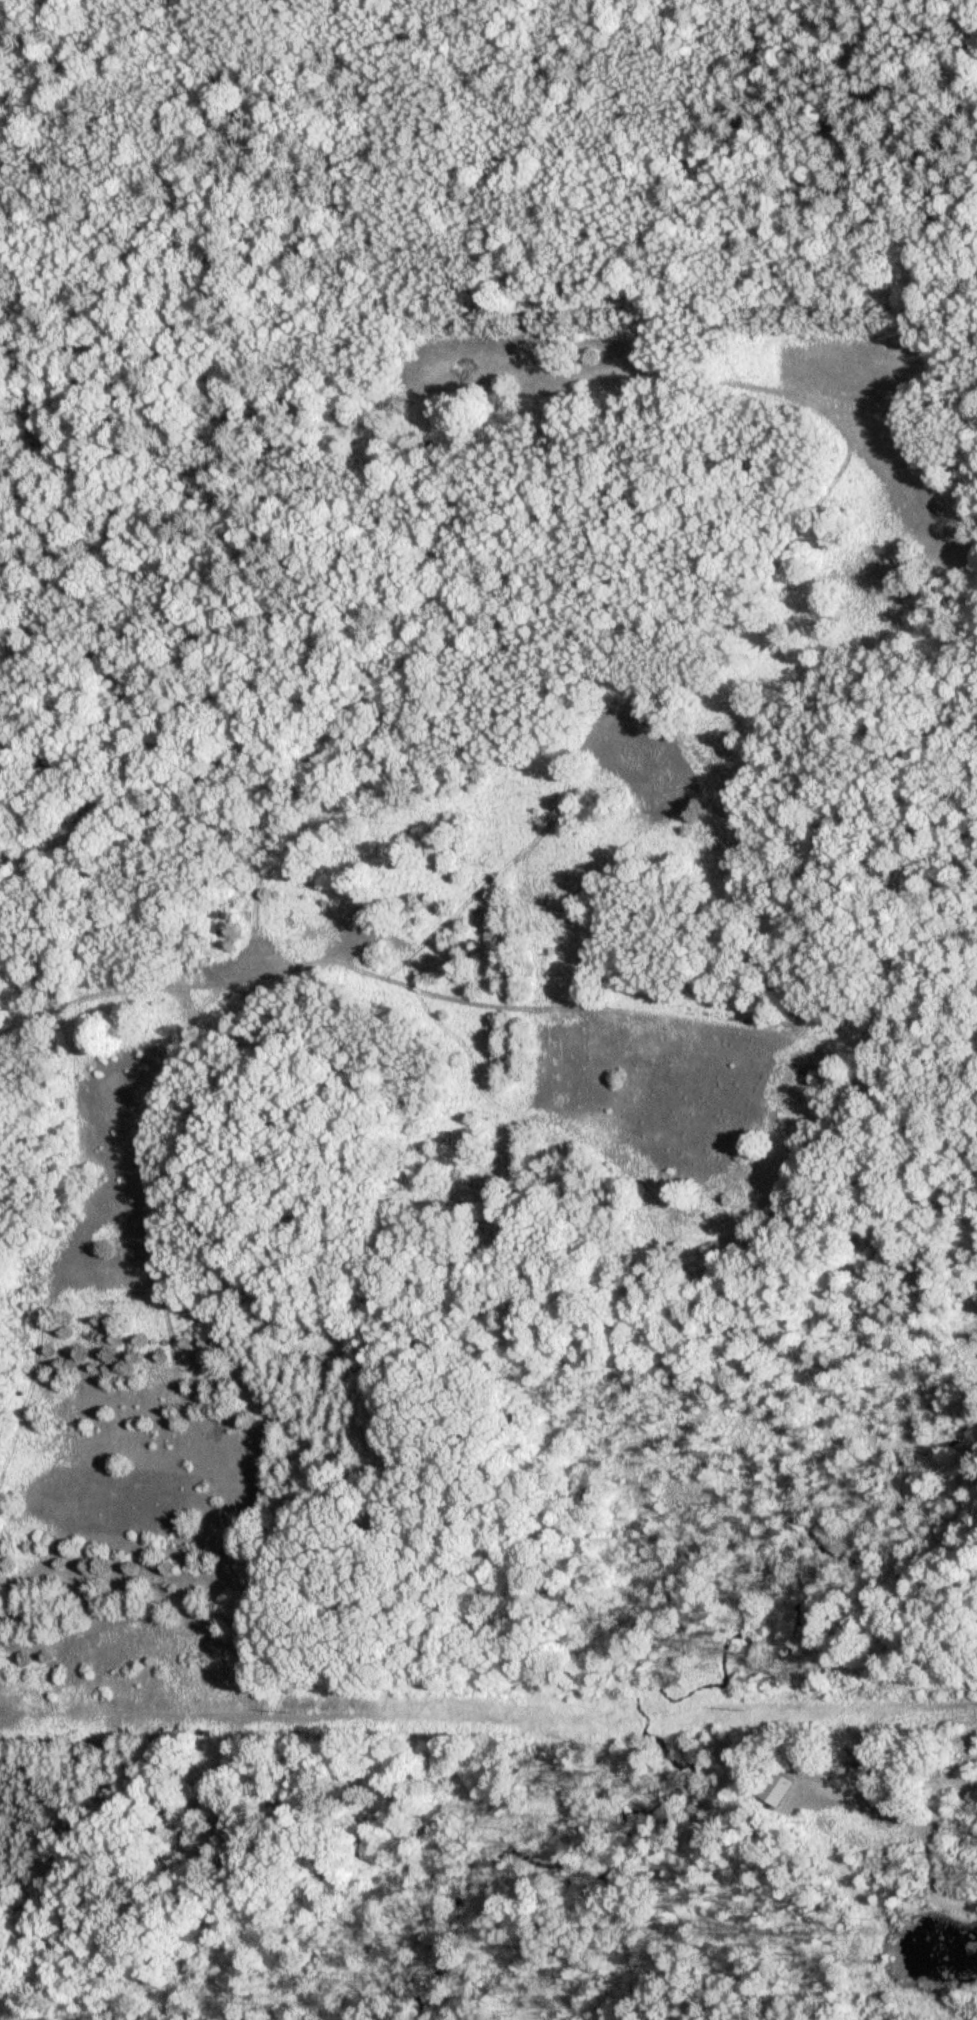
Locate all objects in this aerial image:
building: (776, 1789)

